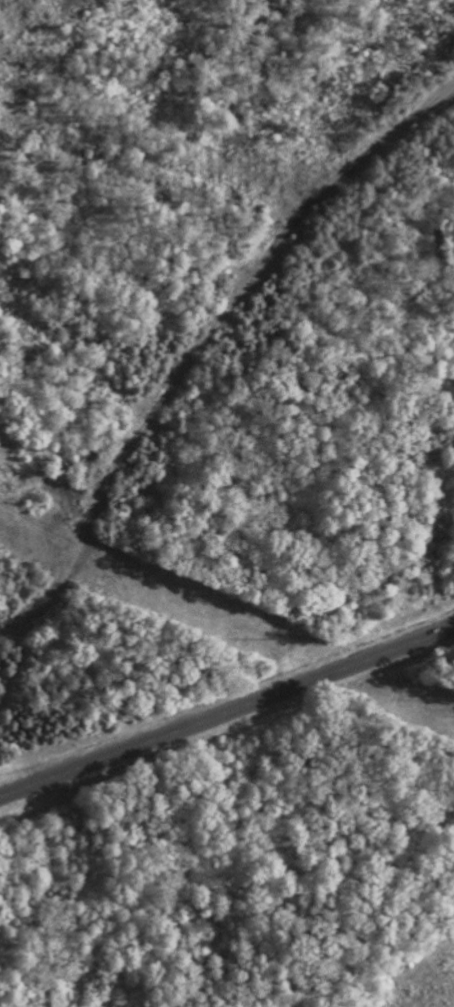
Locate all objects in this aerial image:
road: (227, 713)

